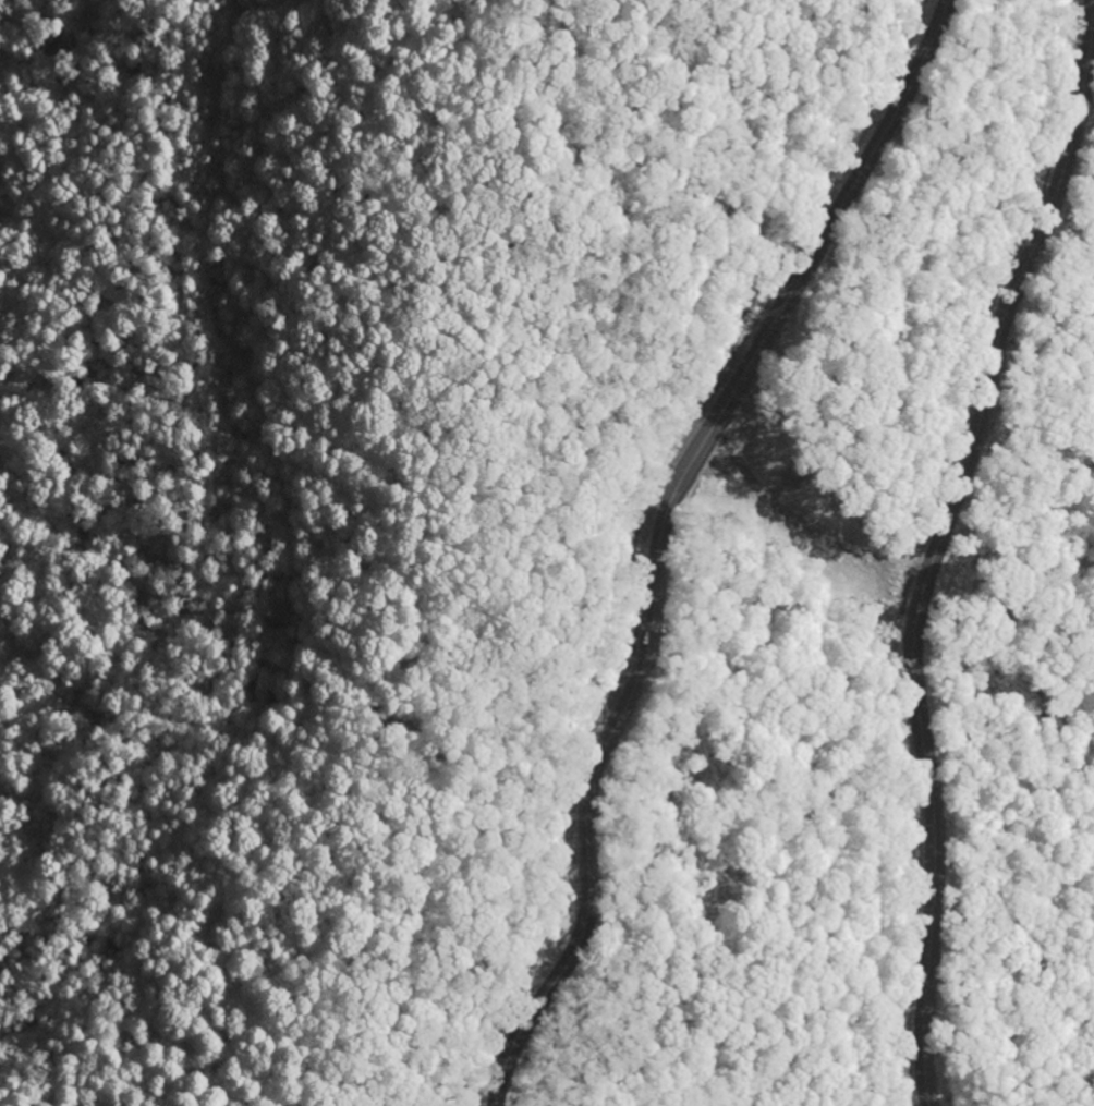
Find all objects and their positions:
road: (664, 532)
road: (938, 543)

